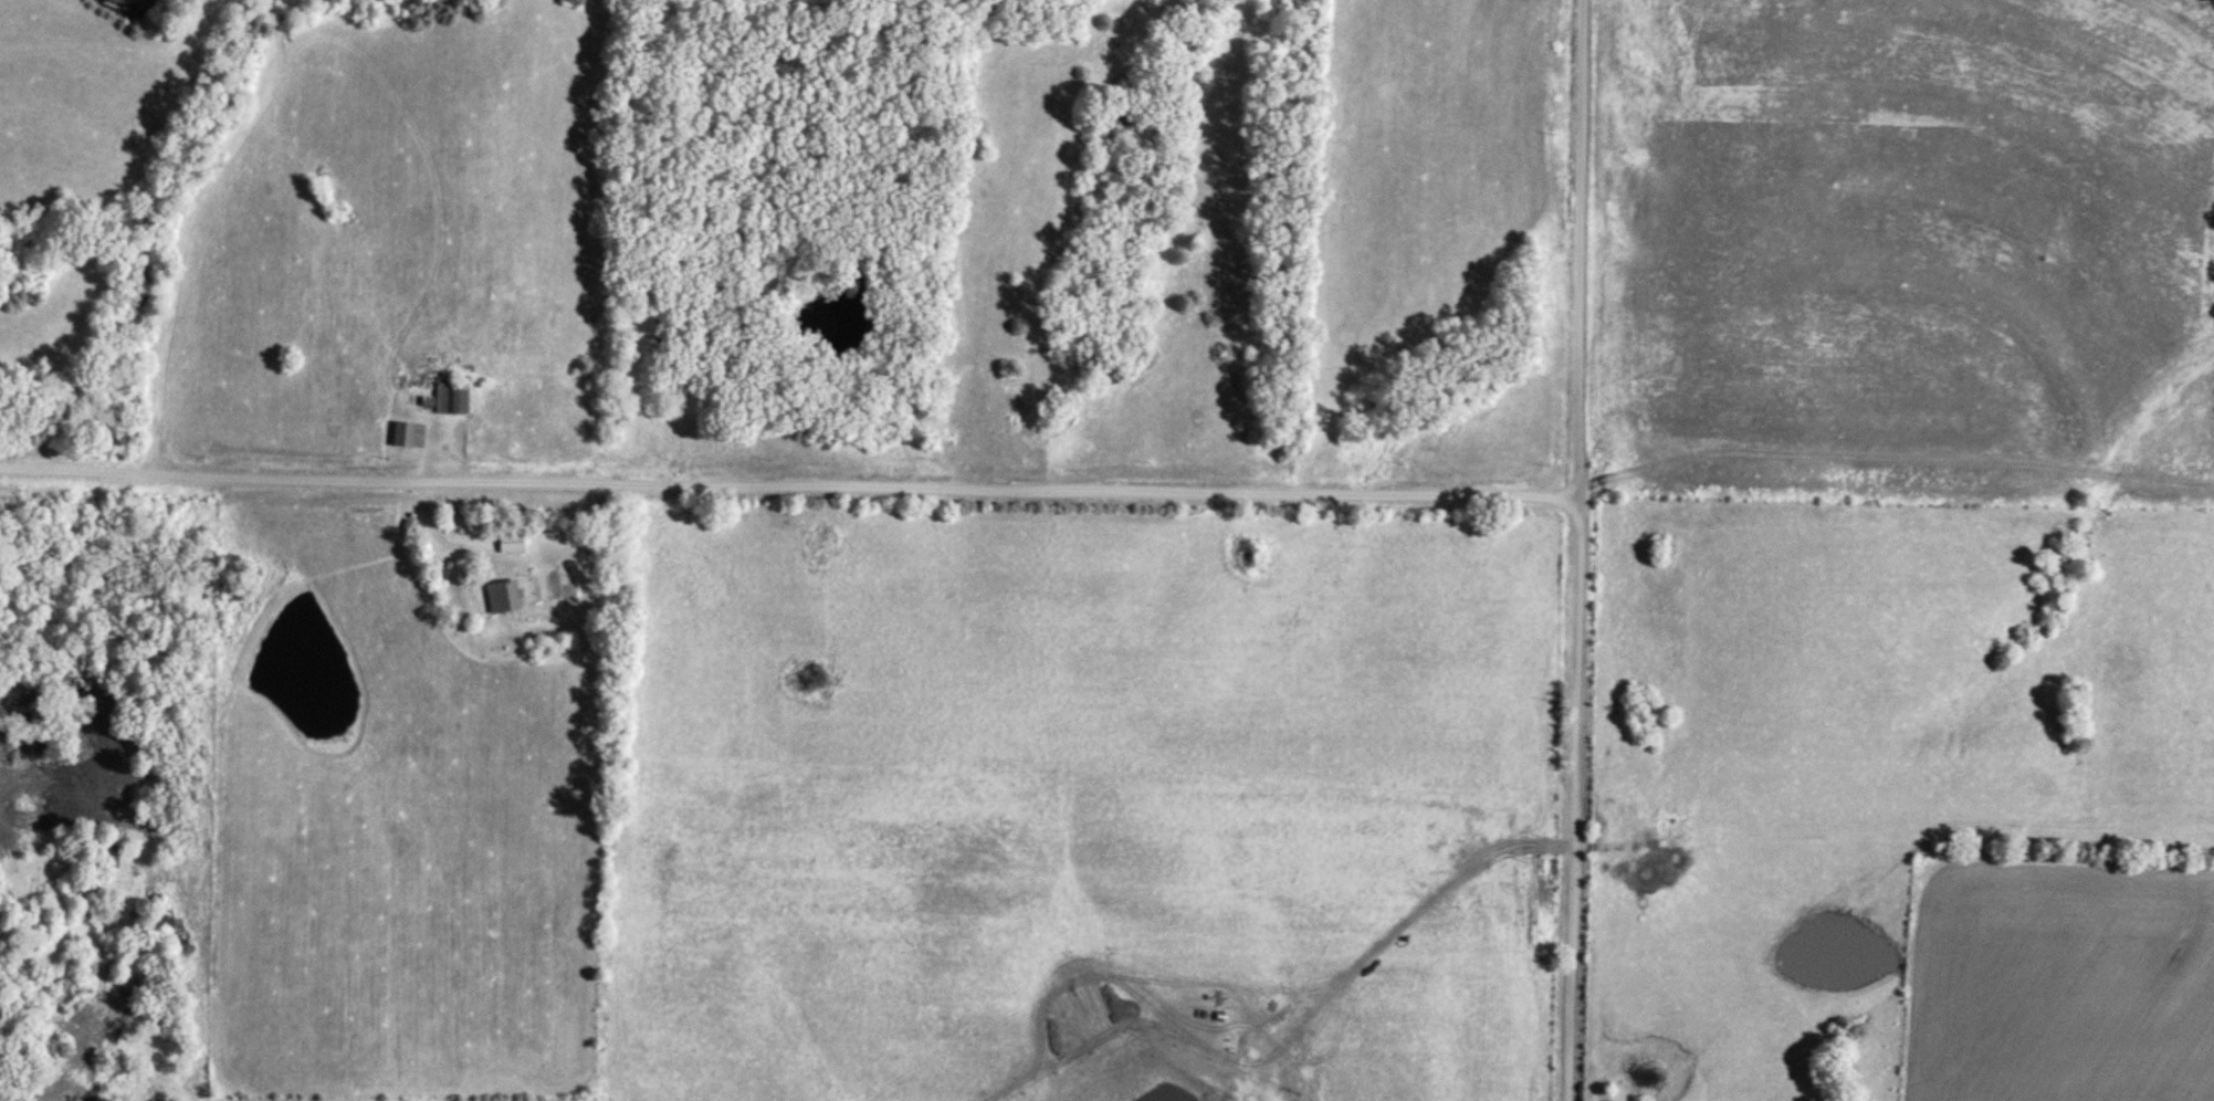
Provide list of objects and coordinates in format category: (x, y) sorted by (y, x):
building: (449, 398)
building: (405, 436)
road: (787, 484)
building: (507, 542)
road: (1575, 550)
building: (499, 596)

